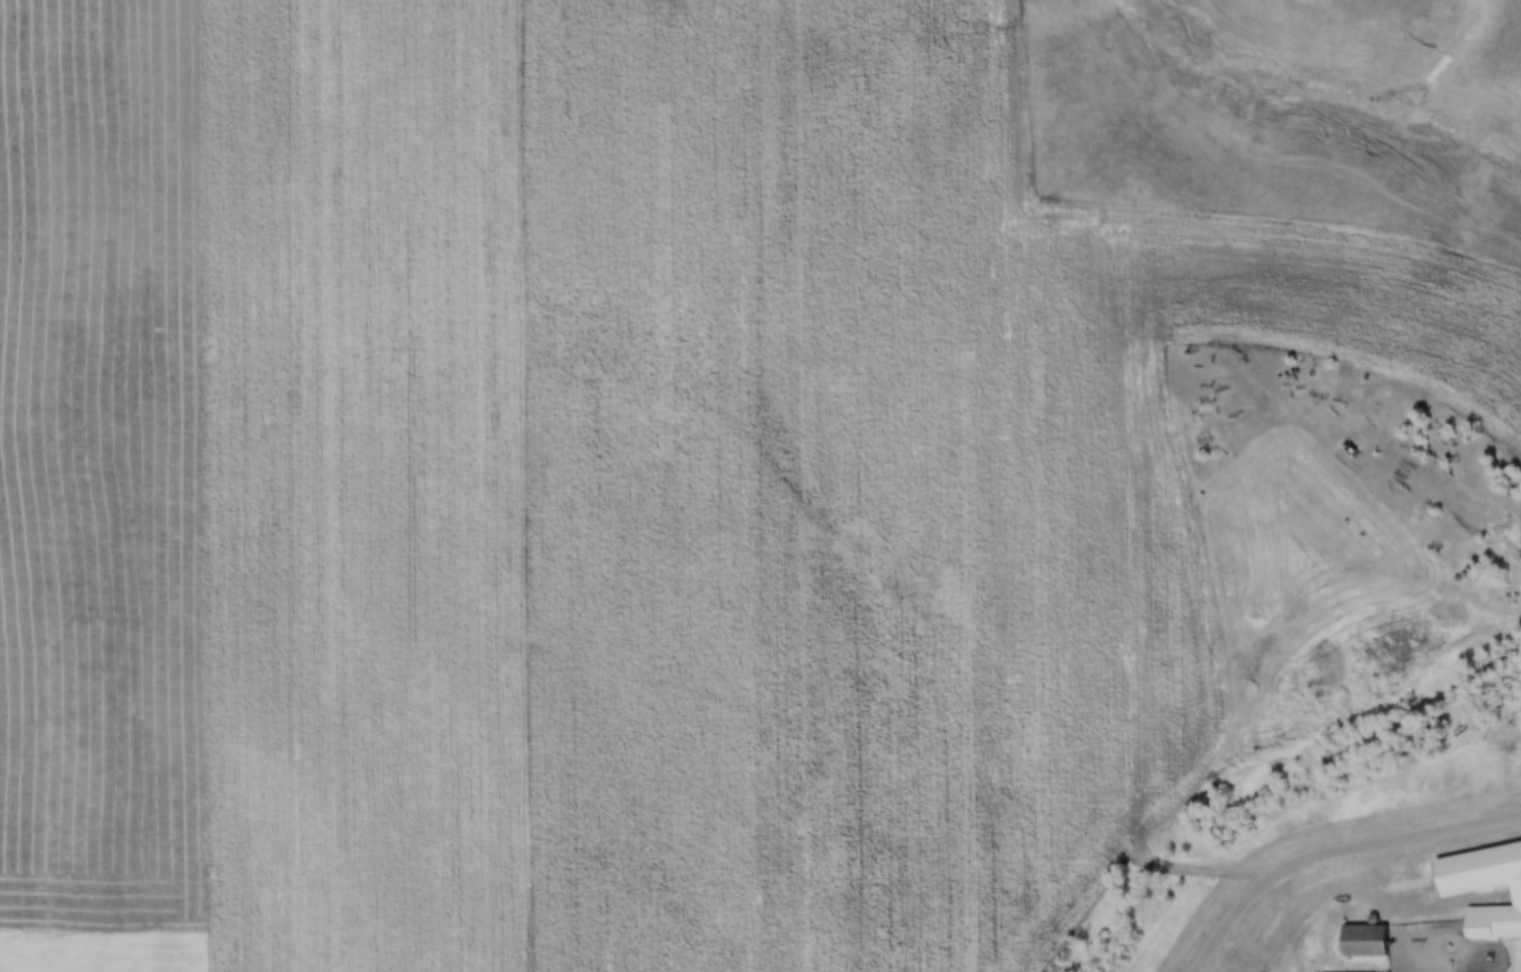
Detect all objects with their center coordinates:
road: (1334, 853)
road: (1187, 870)
building: (1484, 887)
road: (1296, 915)
building: (1365, 940)

